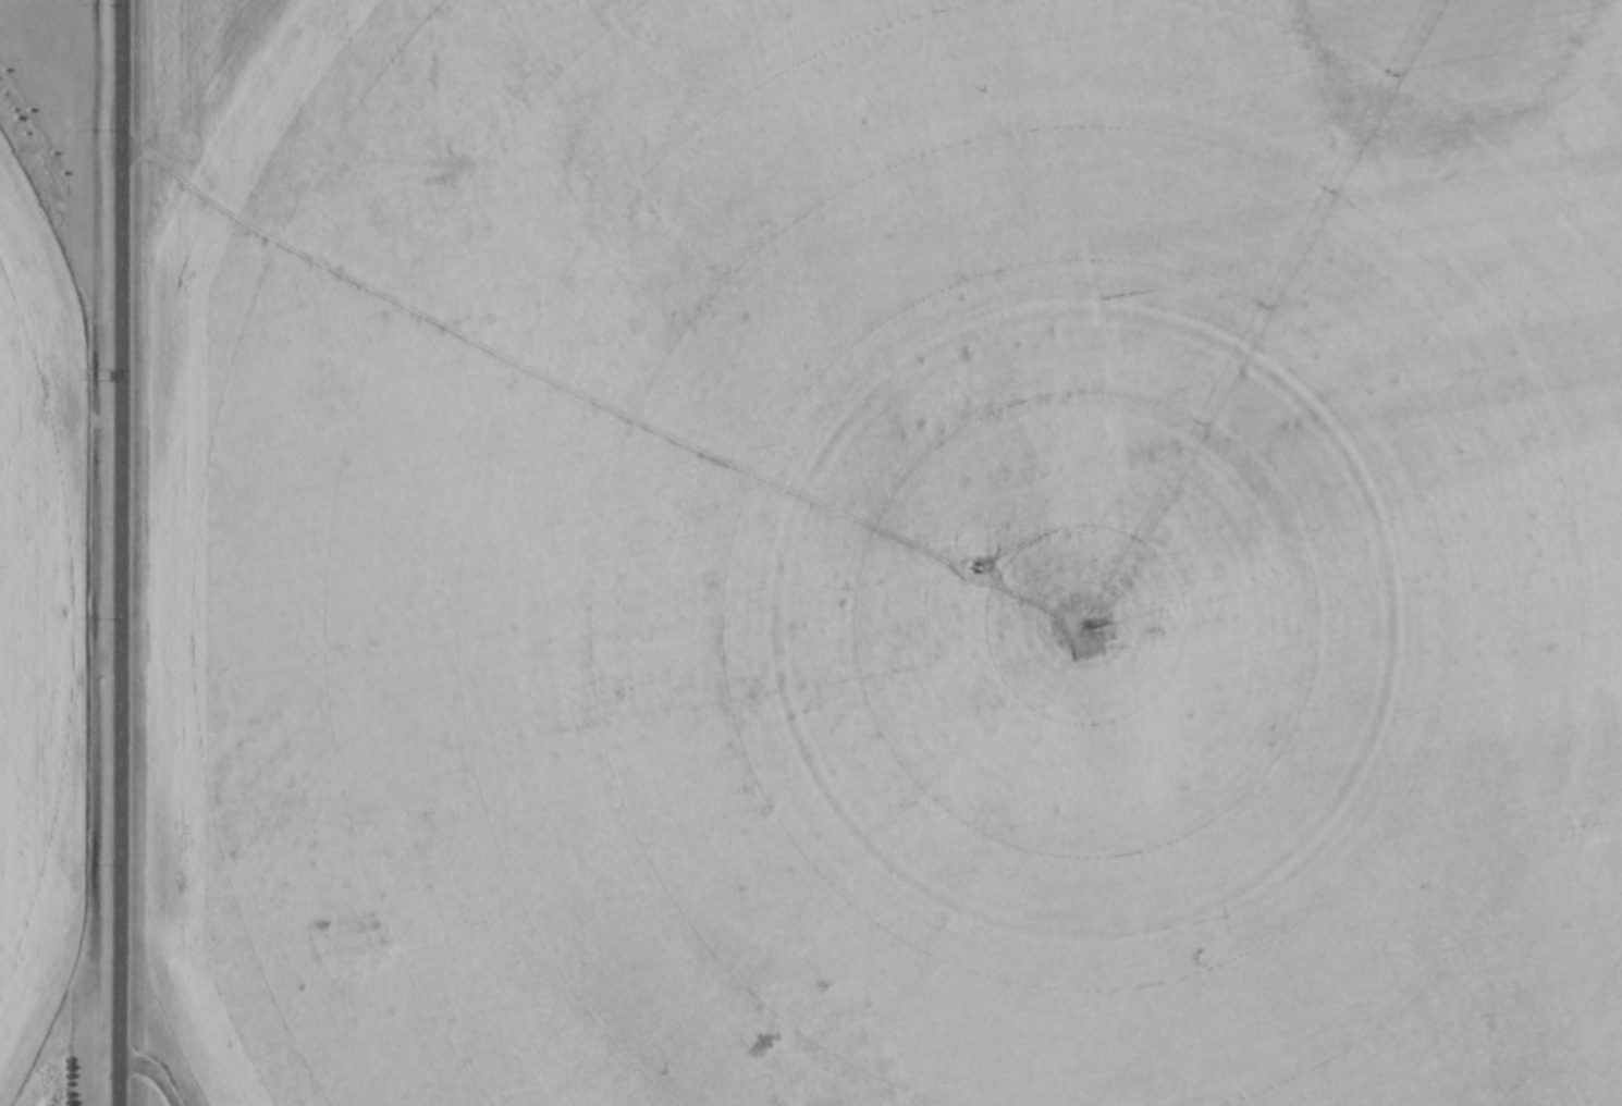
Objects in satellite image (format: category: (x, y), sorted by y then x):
road: (122, 553)

